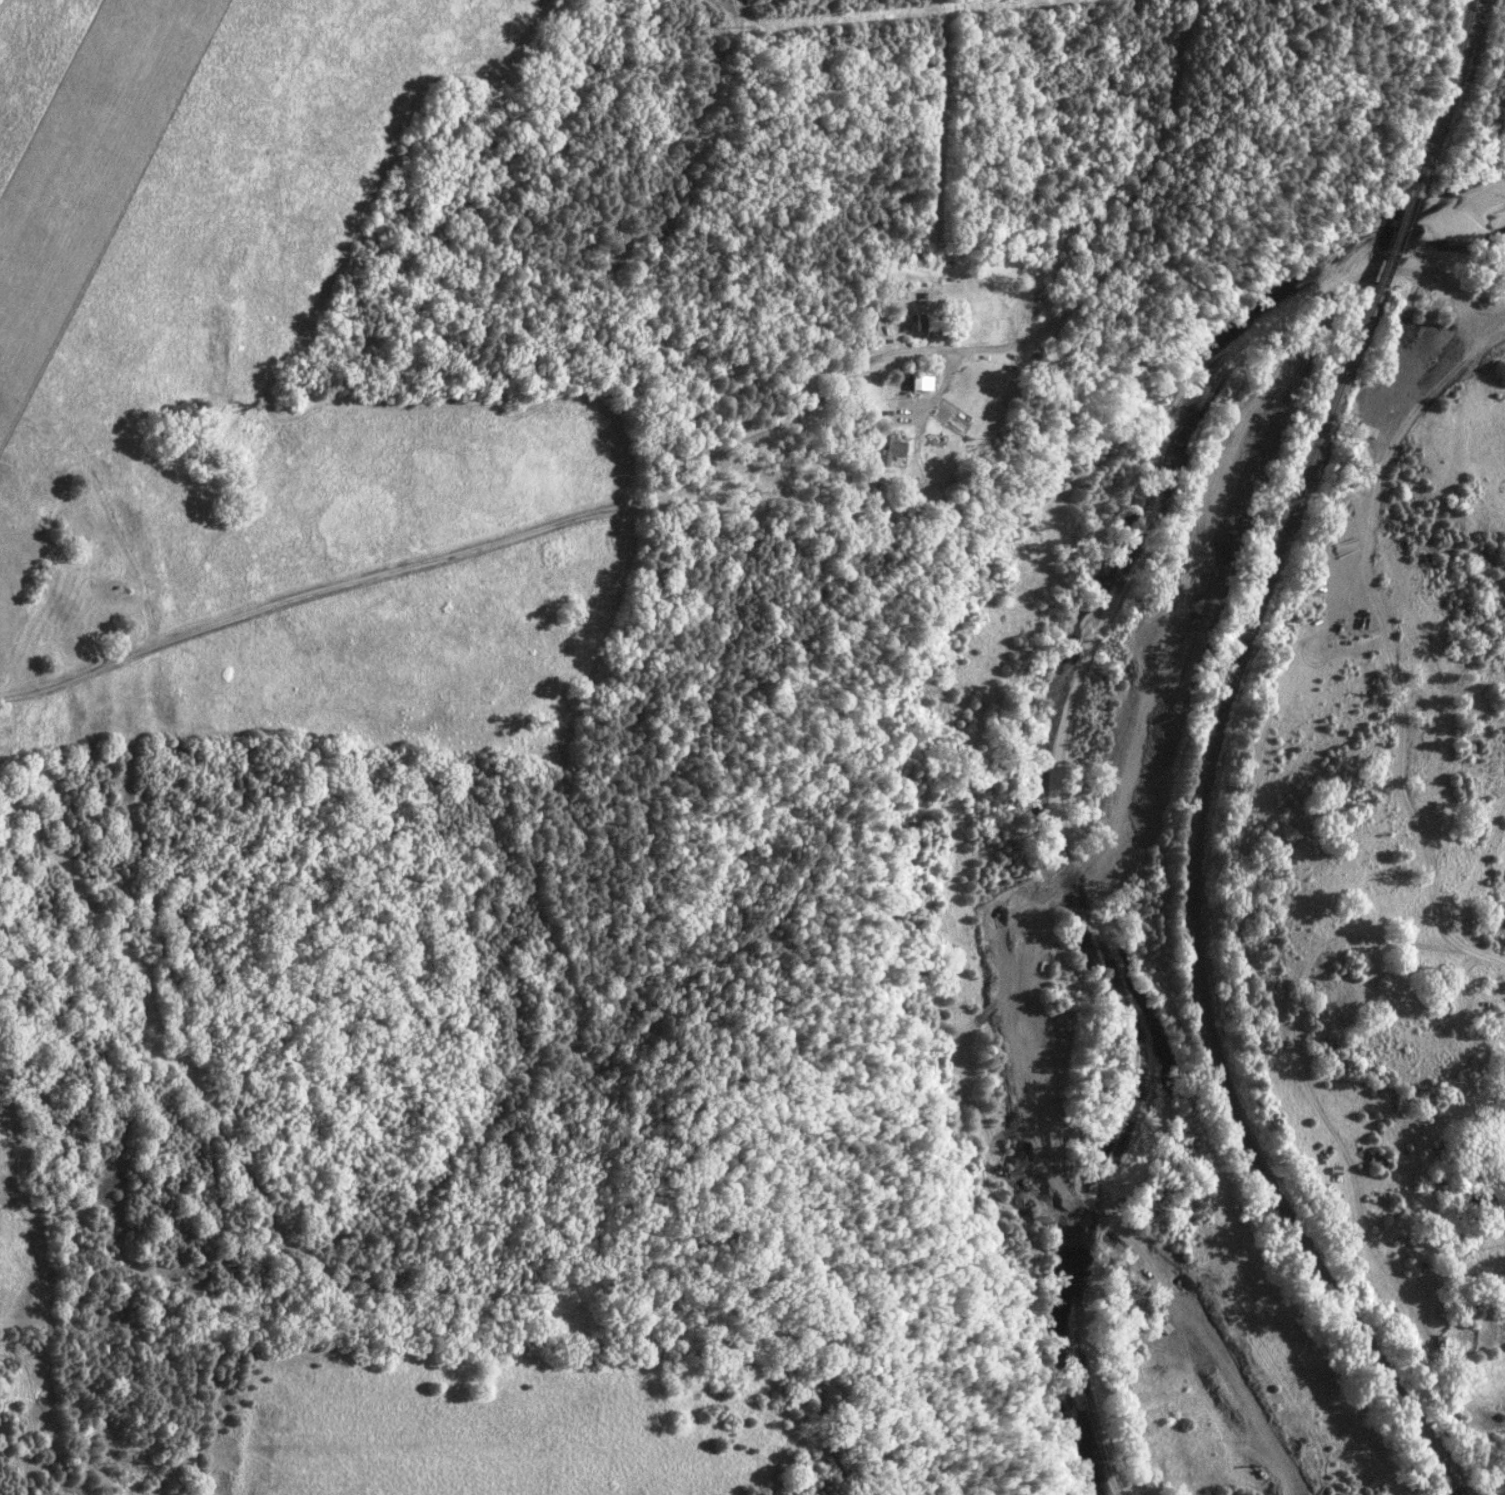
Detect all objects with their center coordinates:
railway: (1447, 100)
railway: (1395, 243)
building: (931, 324)
building: (922, 382)
building: (891, 449)
road: (513, 539)
railway: (1195, 903)
road: (1463, 1023)
railway: (1457, 1489)

